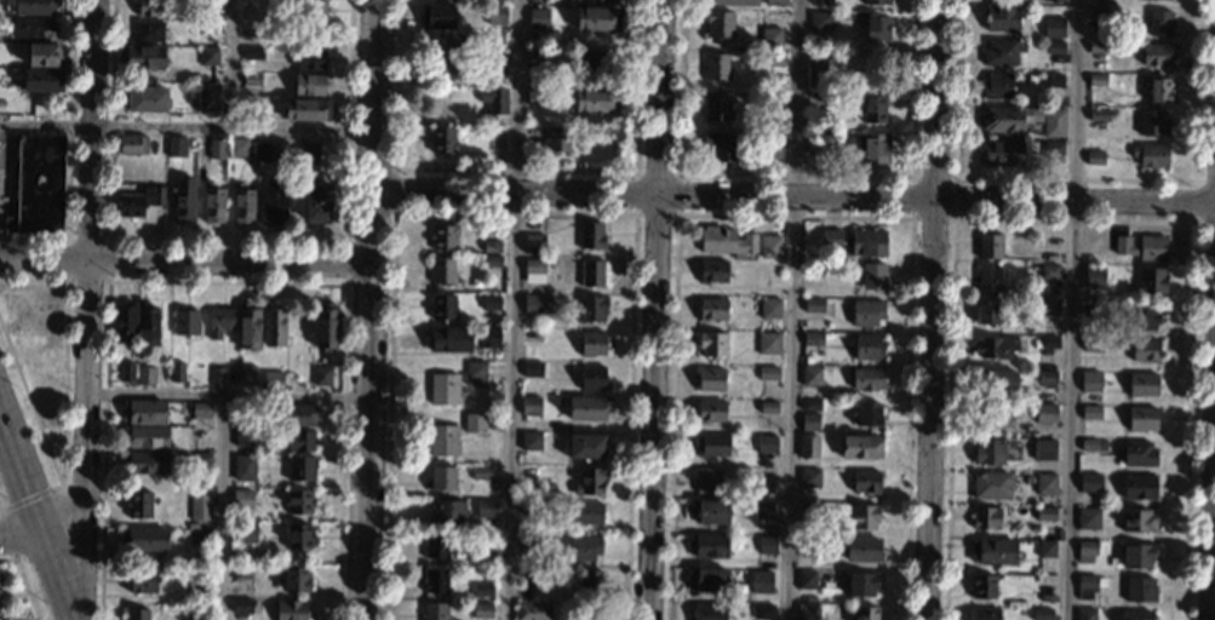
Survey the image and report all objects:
building: (1061, 0)
building: (1170, 0)
building: (1025, 1)
building: (733, 2)
building: (775, 2)
building: (877, 2)
building: (210, 5)
building: (34, 7)
building: (151, 7)
building: (314, 11)
building: (1097, 12)
building: (495, 15)
building: (440, 16)
building: (539, 18)
building: (597, 18)
building: (1001, 18)
building: (820, 22)
building: (1159, 22)
building: (720, 25)
building: (1053, 27)
building: (208, 28)
building: (33, 29)
building: (877, 29)
building: (149, 30)
building: (770, 38)
building: (1096, 46)
building: (1055, 47)
building: (252, 52)
building: (492, 52)
building: (1002, 52)
building: (46, 54)
building: (1158, 54)
building: (144, 56)
building: (208, 56)
building: (537, 58)
building: (309, 59)
building: (775, 59)
building: (594, 62)
building: (451, 64)
road: (234, 67)
building: (716, 67)
building: (816, 70)
building: (252, 79)
building: (42, 80)
building: (1053, 80)
building: (1096, 80)
building: (308, 85)
building: (998, 86)
building: (1158, 90)
building: (535, 96)
building: (207, 98)
building: (147, 99)
building: (592, 99)
building: (774, 102)
building: (492, 104)
building: (717, 105)
building: (872, 107)
building: (306, 110)
building: (1099, 115)
building: (1054, 116)
building: (1004, 119)
building: (1152, 122)
road: (187, 132)
building: (442, 139)
building: (498, 140)
building: (556, 142)
building: (818, 143)
building: (132, 145)
building: (721, 145)
building: (174, 147)
building: (773, 147)
building: (236, 148)
building: (870, 148)
building: (216, 149)
road: (68, 151)
building: (263, 151)
building: (1002, 151)
building: (1053, 151)
building: (309, 154)
building: (1150, 155)
building: (1094, 157)
building: (38, 185)
road: (793, 195)
building: (157, 196)
building: (182, 199)
building: (271, 202)
building: (316, 202)
building: (212, 203)
building: (242, 203)
building: (131, 206)
building: (443, 236)
building: (590, 236)
road: (108, 237)
building: (830, 239)
road: (229, 240)
building: (726, 240)
building: (867, 242)
building: (534, 245)
building: (492, 246)
building: (990, 246)
building: (770, 247)
building: (1142, 247)
road: (184, 260)
building: (491, 260)
building: (813, 268)
building: (442, 271)
building: (534, 271)
building: (712, 271)
building: (592, 272)
building: (1049, 272)
building: (873, 276)
building: (1093, 277)
road: (91, 279)
building: (988, 280)
building: (1151, 280)
road: (223, 281)
road: (348, 283)
building: (491, 303)
building: (532, 303)
building: (813, 305)
building: (443, 306)
building: (769, 308)
road: (369, 309)
road: (512, 309)
building: (590, 309)
road: (653, 309)
building: (712, 309)
road: (790, 309)
road: (932, 309)
building: (1045, 309)
road: (1071, 310)
building: (1090, 310)
building: (866, 312)
building: (987, 314)
building: (1142, 317)
building: (219, 321)
building: (124, 322)
building: (185, 322)
building: (274, 323)
building: (325, 325)
building: (147, 326)
building: (247, 326)
building: (532, 334)
building: (489, 337)
building: (451, 339)
building: (1047, 341)
building: (768, 343)
building: (813, 343)
building: (592, 344)
building: (712, 344)
building: (1091, 344)
building: (869, 348)
building: (996, 348)
building: (1145, 350)
building: (808, 360)
building: (532, 369)
building: (177, 371)
building: (126, 372)
building: (475, 373)
building: (768, 373)
building: (246, 374)
building: (321, 374)
building: (145, 375)
building: (810, 375)
building: (218, 377)
building: (592, 377)
building: (711, 379)
building: (866, 379)
building: (1048, 379)
building: (273, 380)
building: (1089, 381)
building: (997, 383)
building: (1142, 384)
building: (445, 389)
road: (228, 396)
building: (810, 404)
building: (531, 407)
building: (588, 407)
building: (768, 407)
building: (1018, 409)
building: (201, 411)
building: (147, 412)
building: (710, 412)
building: (1090, 412)
building: (867, 414)
building: (1042, 414)
building: (298, 415)
building: (993, 417)
building: (1142, 418)
building: (809, 421)
building: (475, 423)
road: (62, 434)
building: (246, 434)
building: (147, 437)
building: (442, 440)
building: (299, 441)
building: (531, 441)
building: (766, 443)
building: (712, 444)
building: (1089, 444)
building: (1102, 444)
building: (585, 446)
building: (808, 446)
building: (1045, 446)
building: (860, 447)
building: (988, 452)
building: (1139, 453)
building: (201, 459)
building: (144, 463)
building: (243, 467)
building: (300, 467)
building: (481, 472)
building: (528, 475)
building: (766, 475)
building: (809, 477)
building: (441, 478)
building: (1028, 480)
building: (706, 481)
building: (866, 481)
building: (589, 482)
building: (1089, 482)
building: (1045, 483)
building: (991, 486)
road: (81, 487)
building: (1139, 487)
road: (29, 495)
building: (242, 500)
building: (299, 501)
building: (139, 505)
building: (200, 506)
road: (219, 507)
building: (485, 507)
building: (528, 507)
building: (763, 510)
building: (709, 511)
building: (808, 511)
building: (446, 513)
building: (585, 513)
building: (1045, 513)
building: (1088, 513)
building: (862, 517)
building: (986, 518)
building: (1137, 521)
road: (36, 527)
building: (246, 533)
road: (19, 534)
building: (298, 535)
road: (7, 536)
building: (199, 536)
building: (144, 539)
building: (528, 541)
building: (709, 545)
building: (767, 545)
building: (436, 546)
building: (809, 546)
road: (1213, 547)
building: (585, 549)
building: (862, 549)
building: (1045, 549)
building: (992, 551)
building: (1085, 551)
building: (1137, 555)
building: (732, 570)
building: (241, 572)
building: (527, 574)
building: (197, 578)
building: (294, 579)
building: (710, 579)
building: (807, 579)
road: (24, 580)
building: (143, 580)
building: (435, 580)
building: (760, 581)
building: (588, 584)
building: (861, 584)
building: (981, 586)
building: (1088, 586)
building: (482, 590)
building: (1140, 590)
building: (544, 593)
building: (1003, 604)
building: (241, 605)
building: (291, 609)
building: (482, 610)
building: (434, 612)
building: (533, 612)
building: (709, 612)
building: (762, 612)
building: (807, 612)
building: (865, 613)
building: (137, 614)
building: (985, 614)
building: (1042, 614)
building: (1085, 614)
building: (1135, 615)

